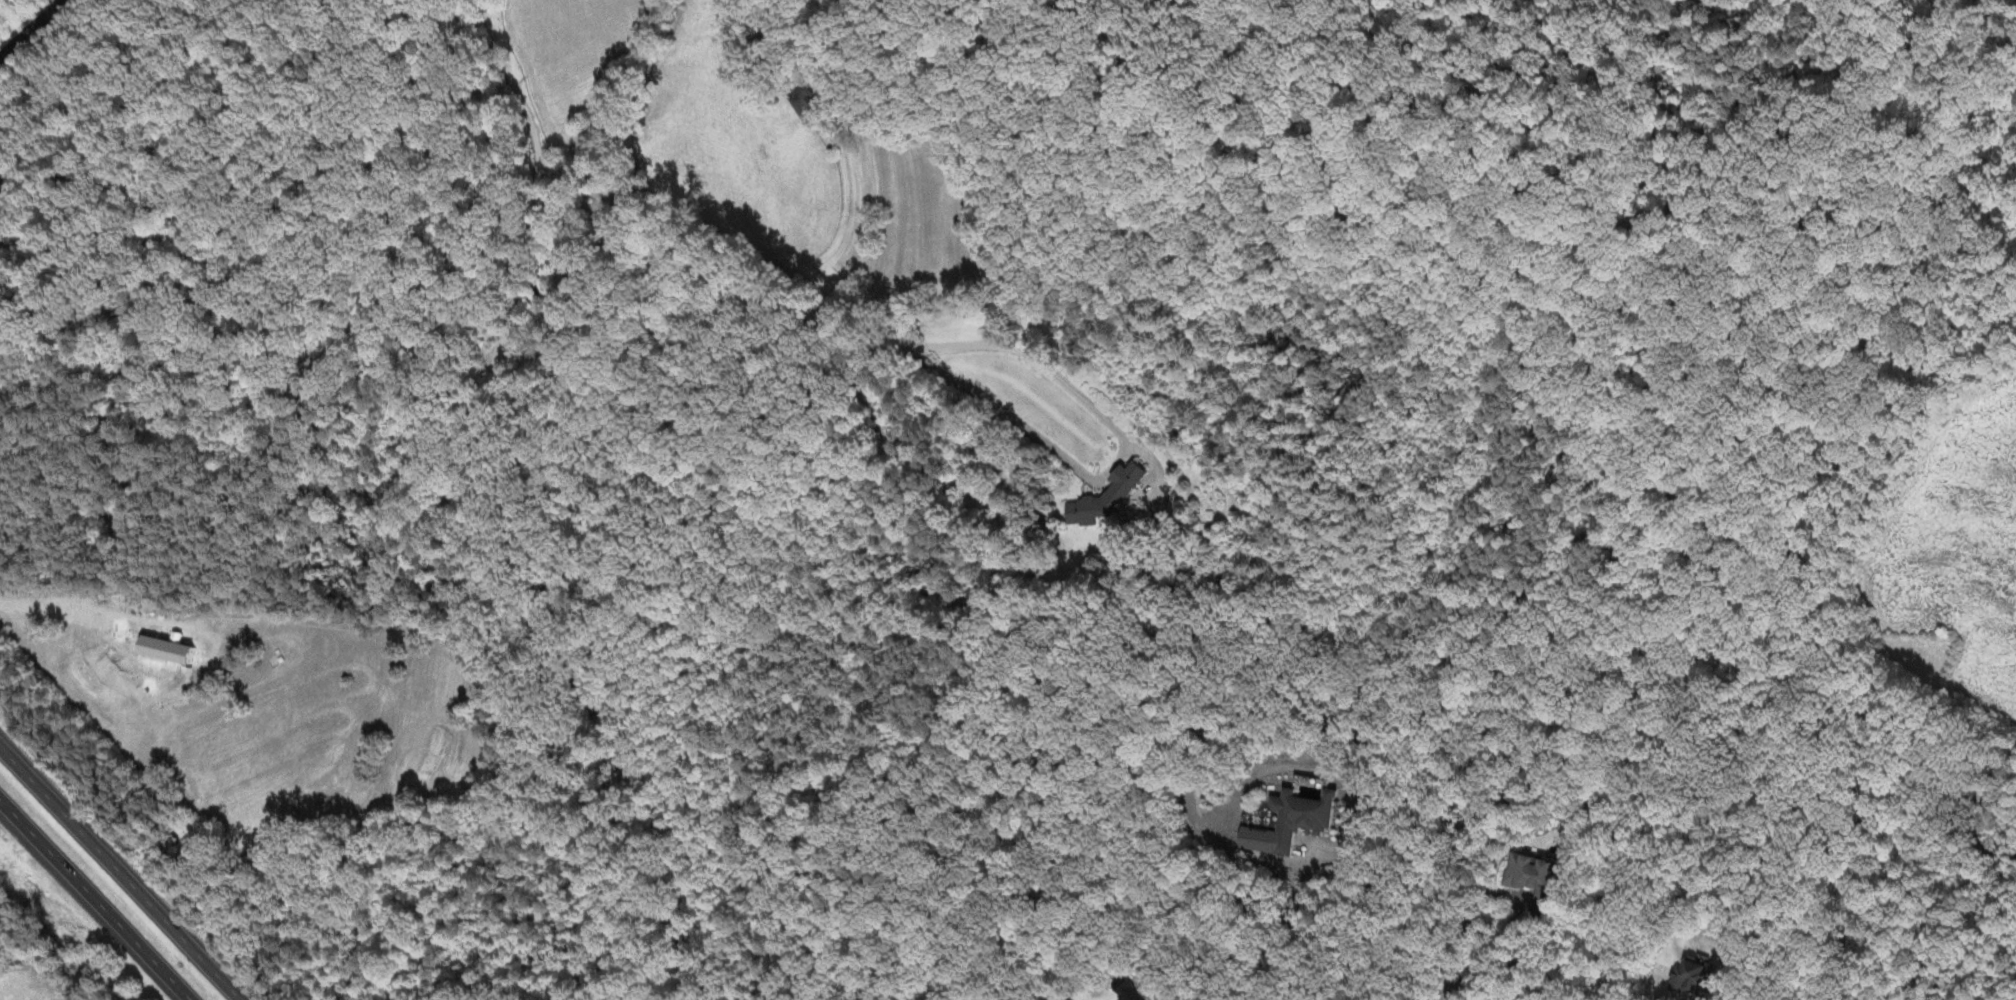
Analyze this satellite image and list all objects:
road: (32, 30)
road: (561, 288)
road: (1121, 448)
building: (1108, 499)
building: (171, 652)
building: (1295, 819)
road: (120, 873)
building: (1537, 874)
road: (1507, 896)
road: (87, 905)
road: (1282, 931)
building: (1698, 977)
road: (1666, 984)
road: (1156, 991)
building: (1128, 993)
road: (1448, 994)

